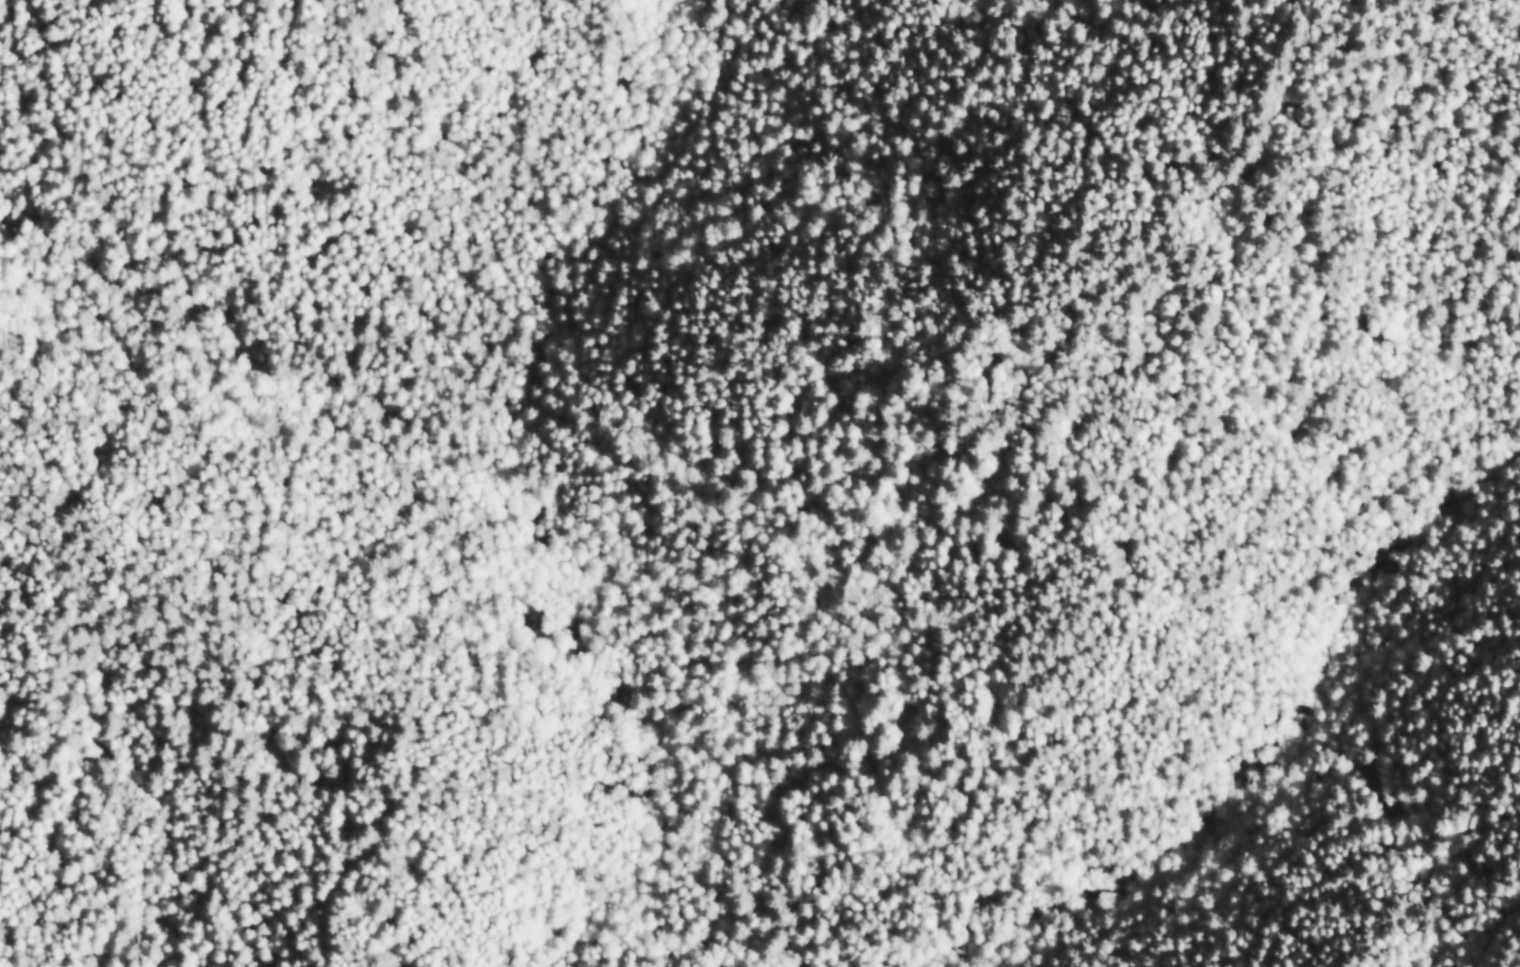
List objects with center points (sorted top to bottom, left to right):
road: (1304, 95)

